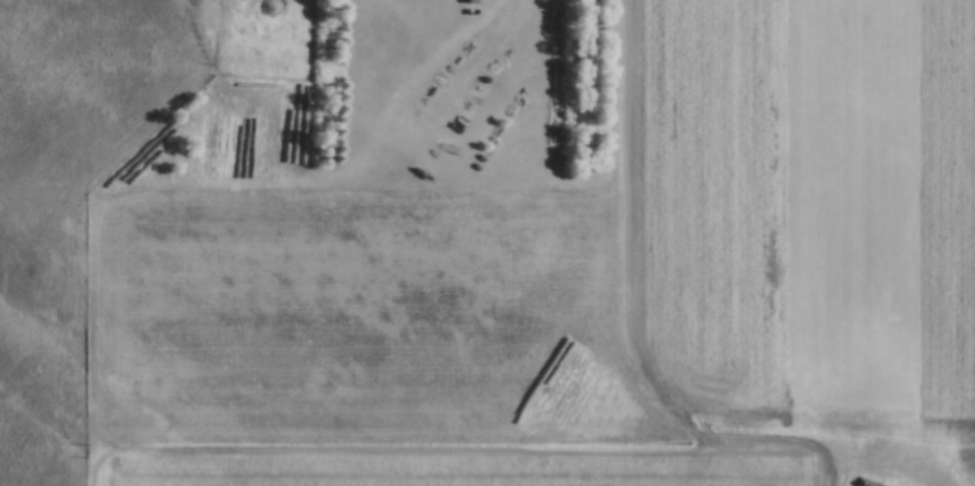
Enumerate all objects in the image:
building: (856, 481)

